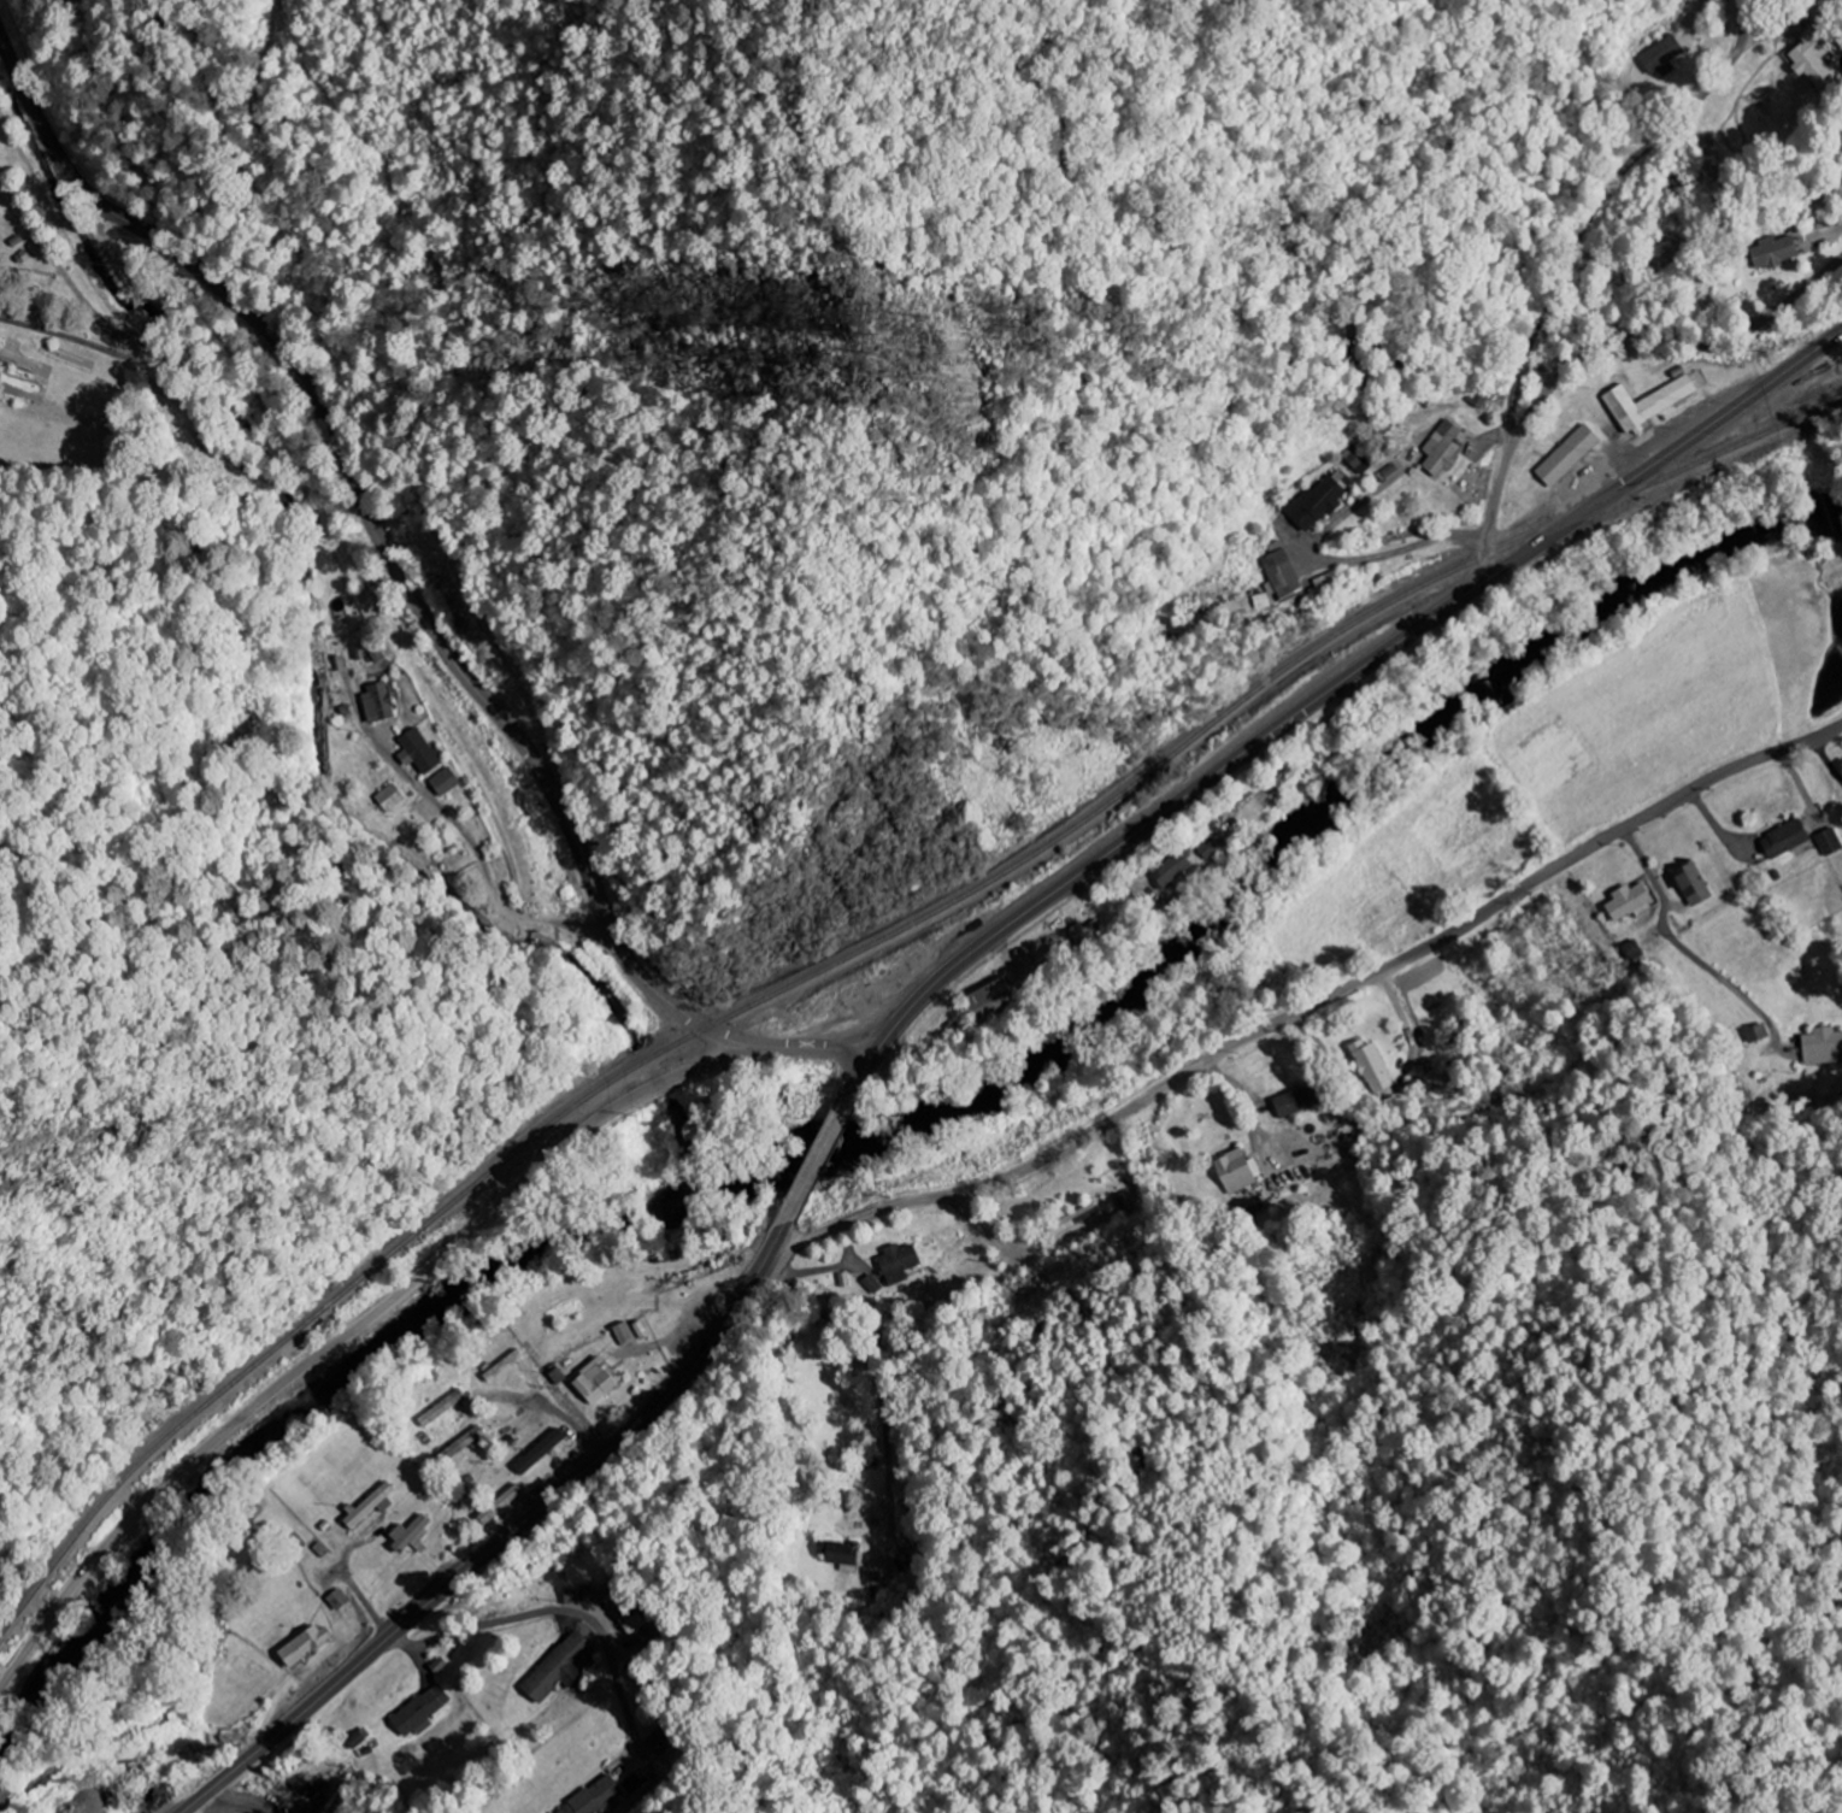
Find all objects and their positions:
building: (1815, 60)
road: (1596, 210)
building: (1787, 249)
road: (1597, 342)
building: (1652, 404)
building: (1447, 447)
building: (1571, 455)
building: (1358, 463)
building: (1319, 502)
building: (1281, 579)
road: (413, 594)
building: (381, 705)
railway: (1211, 724)
building: (420, 752)
building: (447, 782)
building: (389, 799)
building: (1790, 838)
building: (1831, 841)
building: (1216, 847)
road: (1647, 866)
building: (1173, 870)
road: (493, 873)
building: (1695, 885)
building: (1631, 901)
building: (1089, 932)
building: (1636, 950)
road: (931, 991)
building: (1000, 1000)
road: (1314, 1002)
building: (1824, 1046)
building: (1373, 1067)
building: (1306, 1099)
building: (1240, 1171)
building: (1075, 1219)
building: (901, 1262)
building: (873, 1284)
road: (351, 1332)
building: (626, 1334)
railway: (281, 1340)
road: (883, 1381)
building: (601, 1382)
road: (564, 1415)
building: (543, 1452)
building: (373, 1505)
building: (504, 1505)
building: (846, 1553)
building: (575, 1597)
building: (339, 1601)
building: (634, 1621)
building: (307, 1646)
building: (561, 1667)
building: (424, 1712)
building: (663, 1742)
building: (598, 1799)

